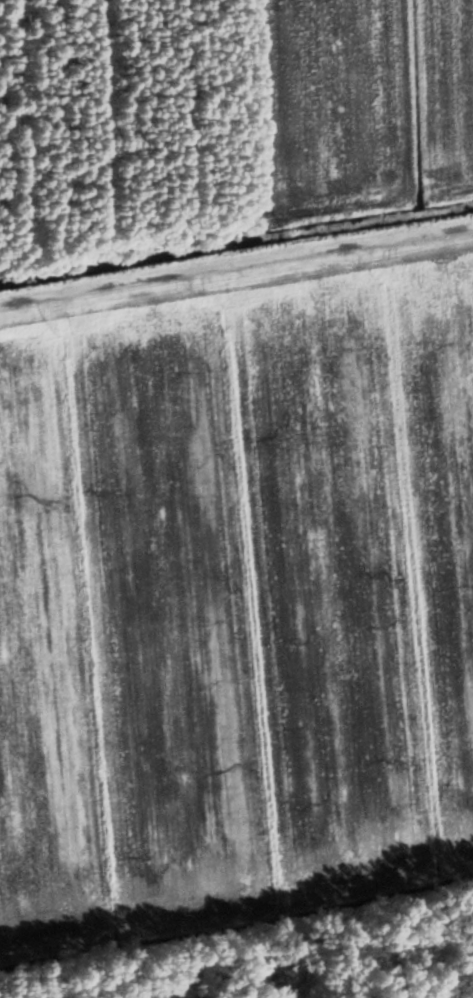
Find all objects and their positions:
road: (236, 261)

